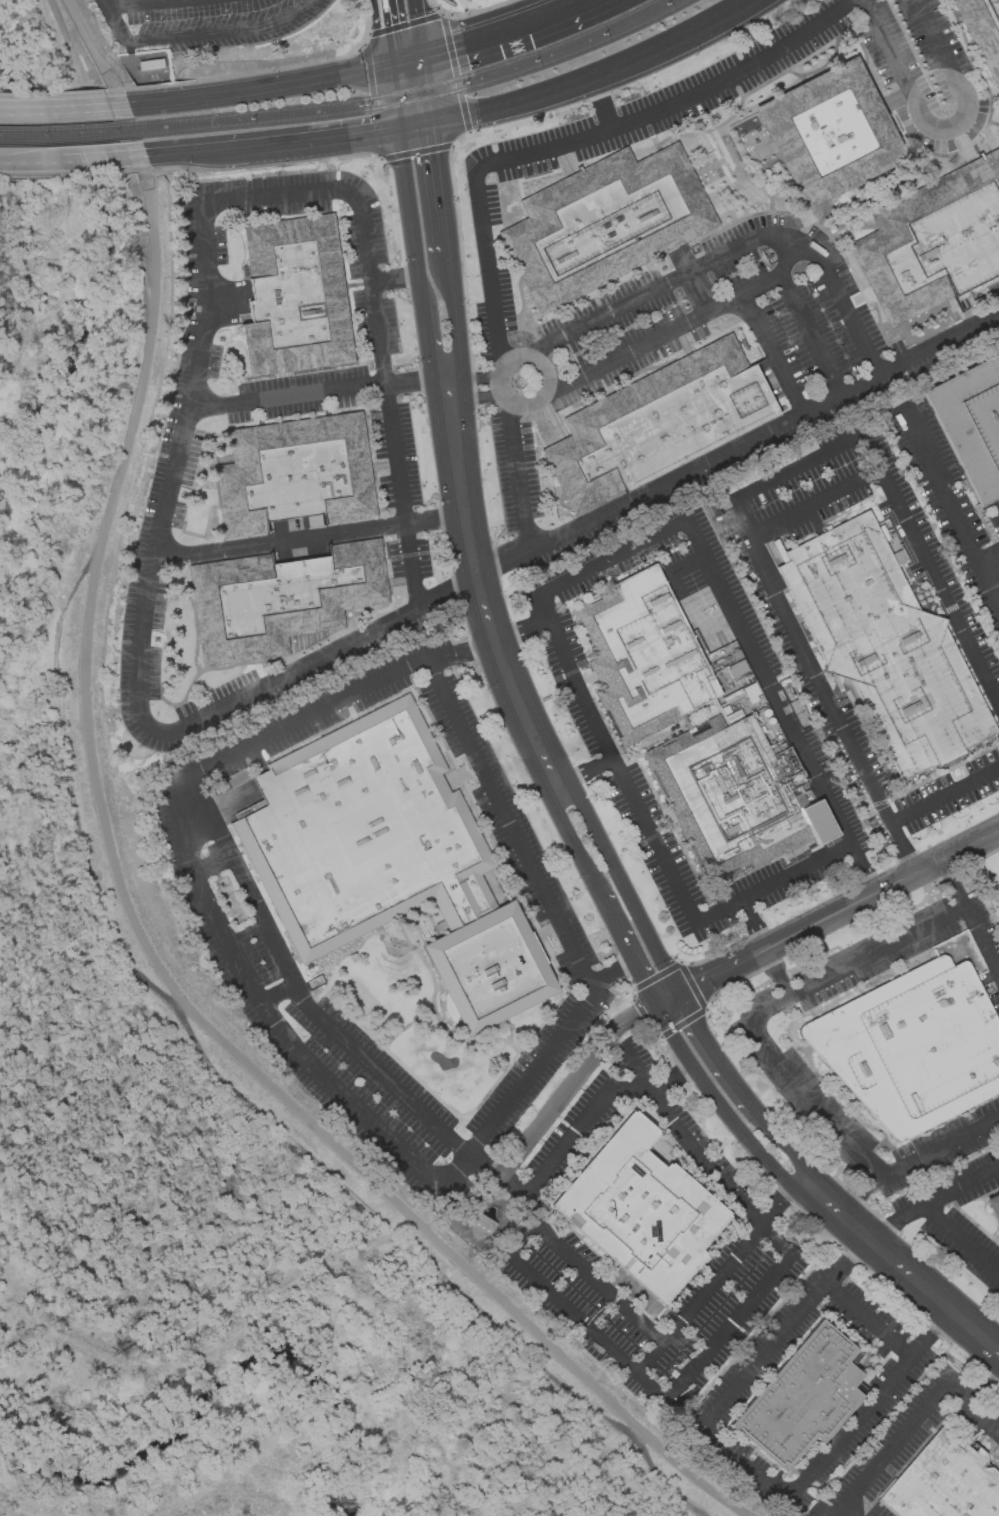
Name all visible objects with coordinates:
road: (146, 4)
parking lot: (205, 21)
road: (418, 28)
road: (506, 31)
road: (385, 32)
building: (982, 32)
road: (198, 34)
road: (931, 39)
road: (892, 46)
traffic signals: (423, 57)
road: (406, 61)
traffic signals: (390, 65)
road: (236, 75)
road: (598, 76)
road: (920, 87)
road: (259, 89)
road: (427, 89)
railway: (405, 90)
road: (61, 92)
road: (394, 96)
railway: (423, 98)
road: (668, 103)
road: (601, 104)
road: (64, 109)
traffic signals: (432, 122)
road: (416, 125)
railway: (67, 128)
traffic signals: (400, 128)
building: (828, 134)
railway: (69, 139)
road: (309, 139)
road: (182, 152)
road: (89, 159)
road: (16, 163)
road: (440, 188)
road: (278, 193)
road: (412, 218)
building: (603, 222)
road: (749, 240)
building: (934, 241)
road: (486, 268)
river: (101, 278)
road: (761, 281)
road: (371, 288)
road: (698, 292)
building: (295, 296)
road: (846, 310)
road: (608, 313)
road: (456, 319)
road: (811, 332)
road: (939, 343)
parking lot: (682, 344)
road: (433, 347)
road: (627, 352)
road: (774, 352)
road: (473, 377)
road: (418, 383)
road: (547, 383)
road: (843, 393)
road: (288, 394)
road: (474, 395)
road: (451, 400)
building: (658, 423)
building: (972, 423)
road: (794, 465)
road: (174, 467)
building: (295, 474)
road: (670, 479)
road: (400, 496)
road: (814, 503)
road: (520, 507)
road: (951, 509)
road: (309, 537)
road: (611, 557)
building: (898, 557)
road: (931, 564)
road: (989, 564)
building: (280, 599)
road: (484, 606)
road: (520, 626)
building: (884, 646)
road: (461, 647)
building: (642, 656)
road: (807, 661)
building: (737, 669)
road: (283, 676)
road: (769, 681)
road: (612, 761)
road: (585, 773)
road: (944, 797)
building: (733, 798)
road: (509, 823)
road: (572, 842)
road: (902, 848)
building: (389, 861)
road: (864, 867)
road: (119, 878)
road: (773, 882)
road: (952, 884)
road: (621, 886)
road: (880, 890)
road: (615, 925)
road: (750, 925)
road: (982, 940)
road: (875, 951)
road: (754, 954)
road: (612, 967)
road: (774, 972)
road: (713, 976)
road: (644, 980)
road: (296, 989)
road: (254, 993)
road: (277, 994)
traffic signals: (679, 994)
road: (668, 999)
traffic signals: (657, 1005)
road: (627, 1019)
building: (913, 1045)
road: (713, 1052)
road: (614, 1054)
road: (800, 1084)
road: (720, 1104)
road: (533, 1128)
road: (565, 1136)
road: (783, 1142)
road: (688, 1143)
road: (941, 1147)
road: (957, 1188)
road: (863, 1194)
road: (781, 1195)
building: (994, 1207)
building: (642, 1209)
building: (481, 1222)
road: (893, 1224)
road: (957, 1239)
road: (857, 1252)
road: (900, 1265)
road: (584, 1273)
road: (713, 1279)
road: (746, 1310)
road: (574, 1322)
road: (941, 1323)
road: (866, 1324)
road: (772, 1345)
road: (648, 1360)
river: (219, 1387)
building: (802, 1399)
road: (975, 1402)
road: (861, 1415)
road: (892, 1444)
road: (743, 1465)
building: (944, 1482)
road: (840, 1514)

